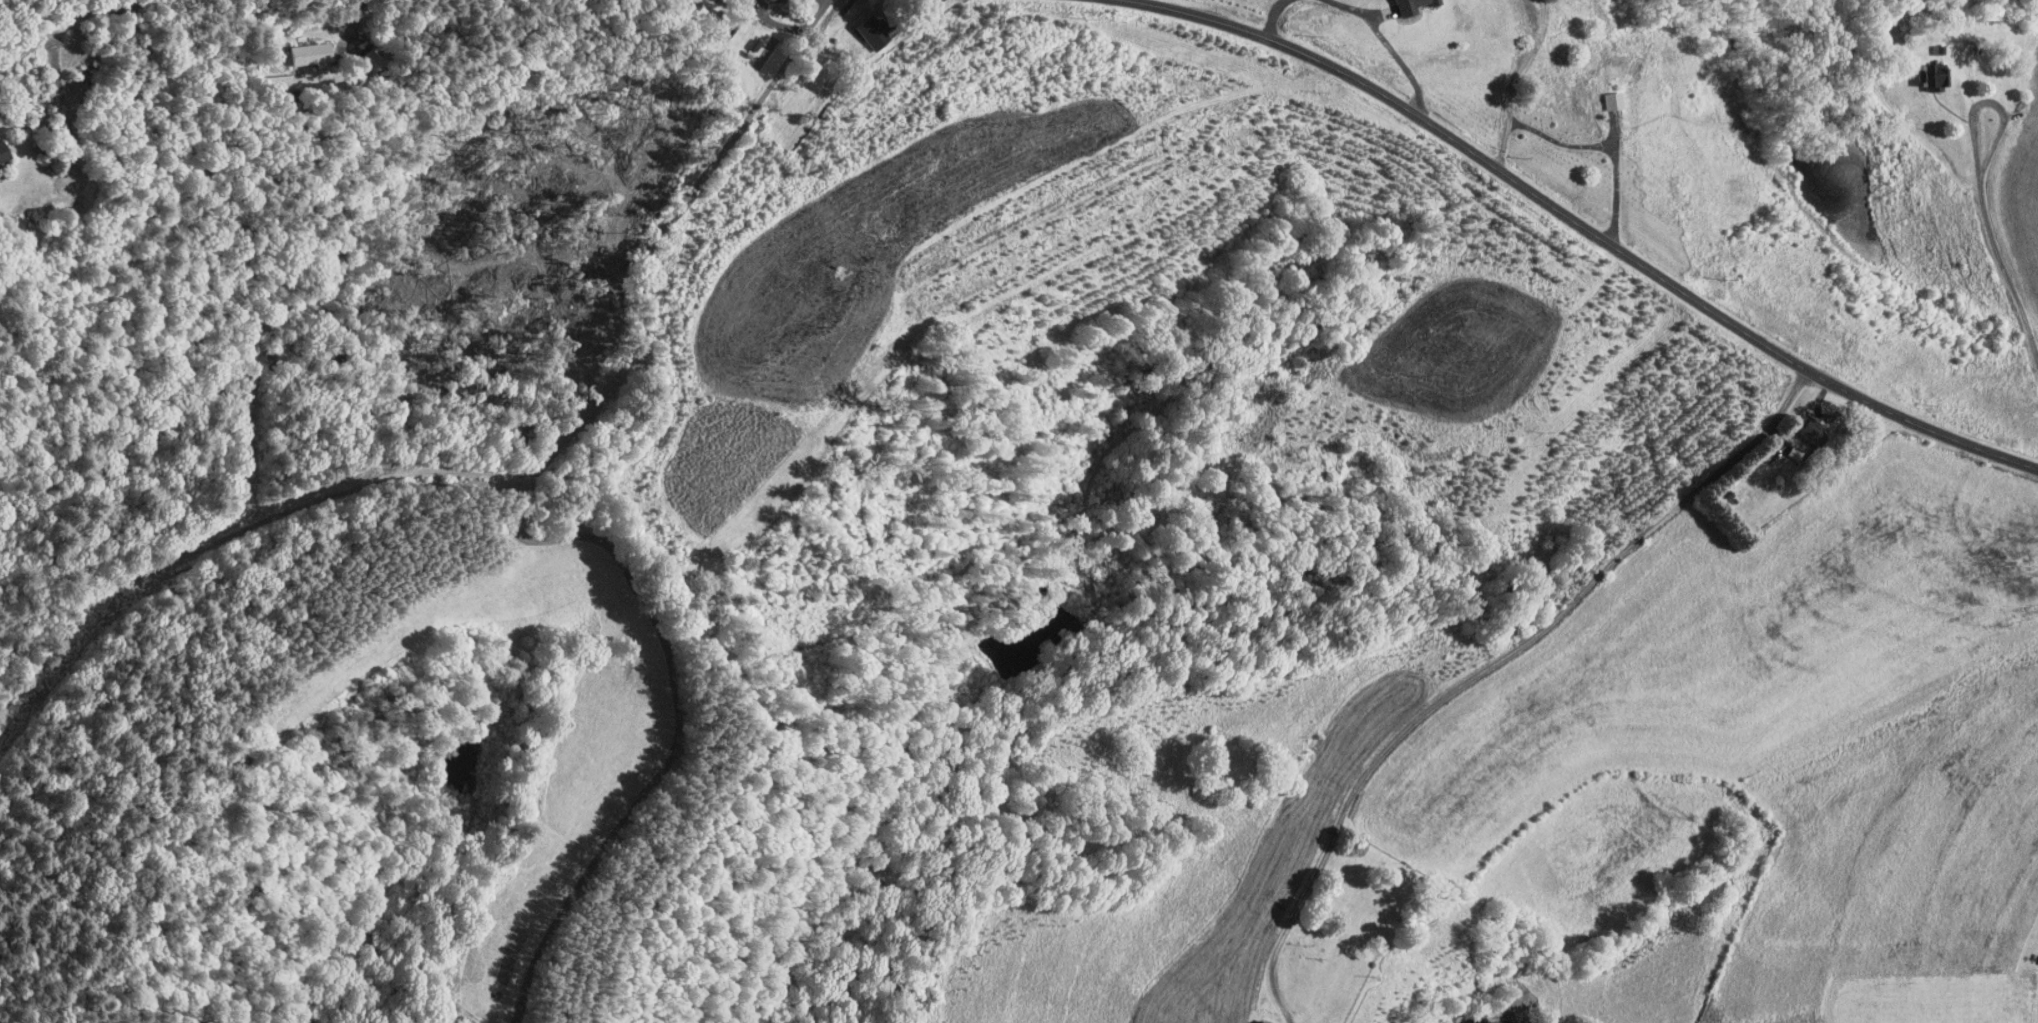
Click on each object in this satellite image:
building: (732, 0)
road: (357, 21)
building: (859, 25)
road: (66, 27)
building: (295, 48)
building: (1922, 70)
building: (1599, 94)
road: (1977, 95)
road: (1571, 138)
road: (1587, 226)
road: (2000, 281)
road: (527, 471)
road: (1488, 666)
road: (618, 727)
building: (1255, 1019)

